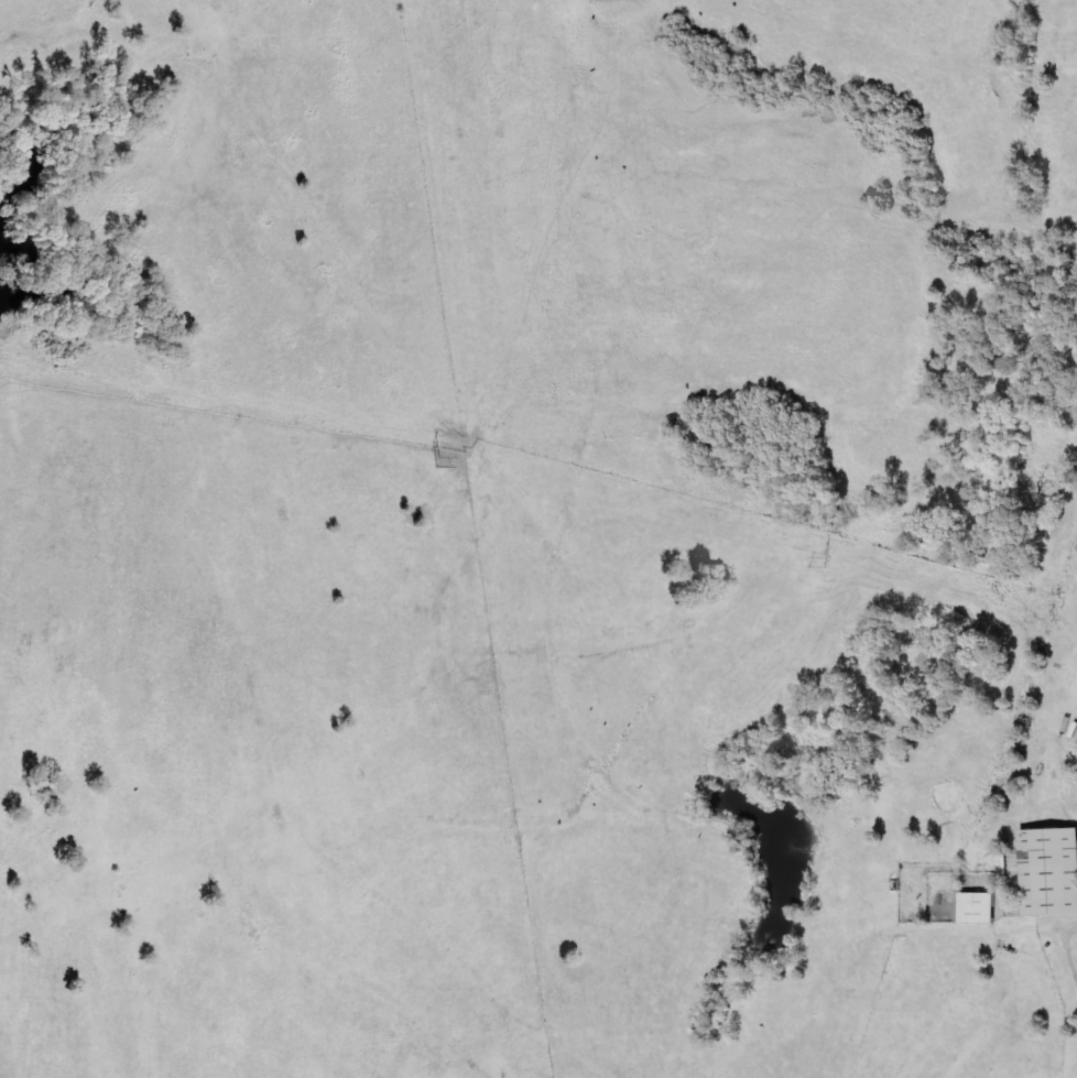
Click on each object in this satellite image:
power tower: (53, 359)
power tower: (436, 460)
power tower: (826, 562)
building: (1052, 871)
building: (981, 908)

